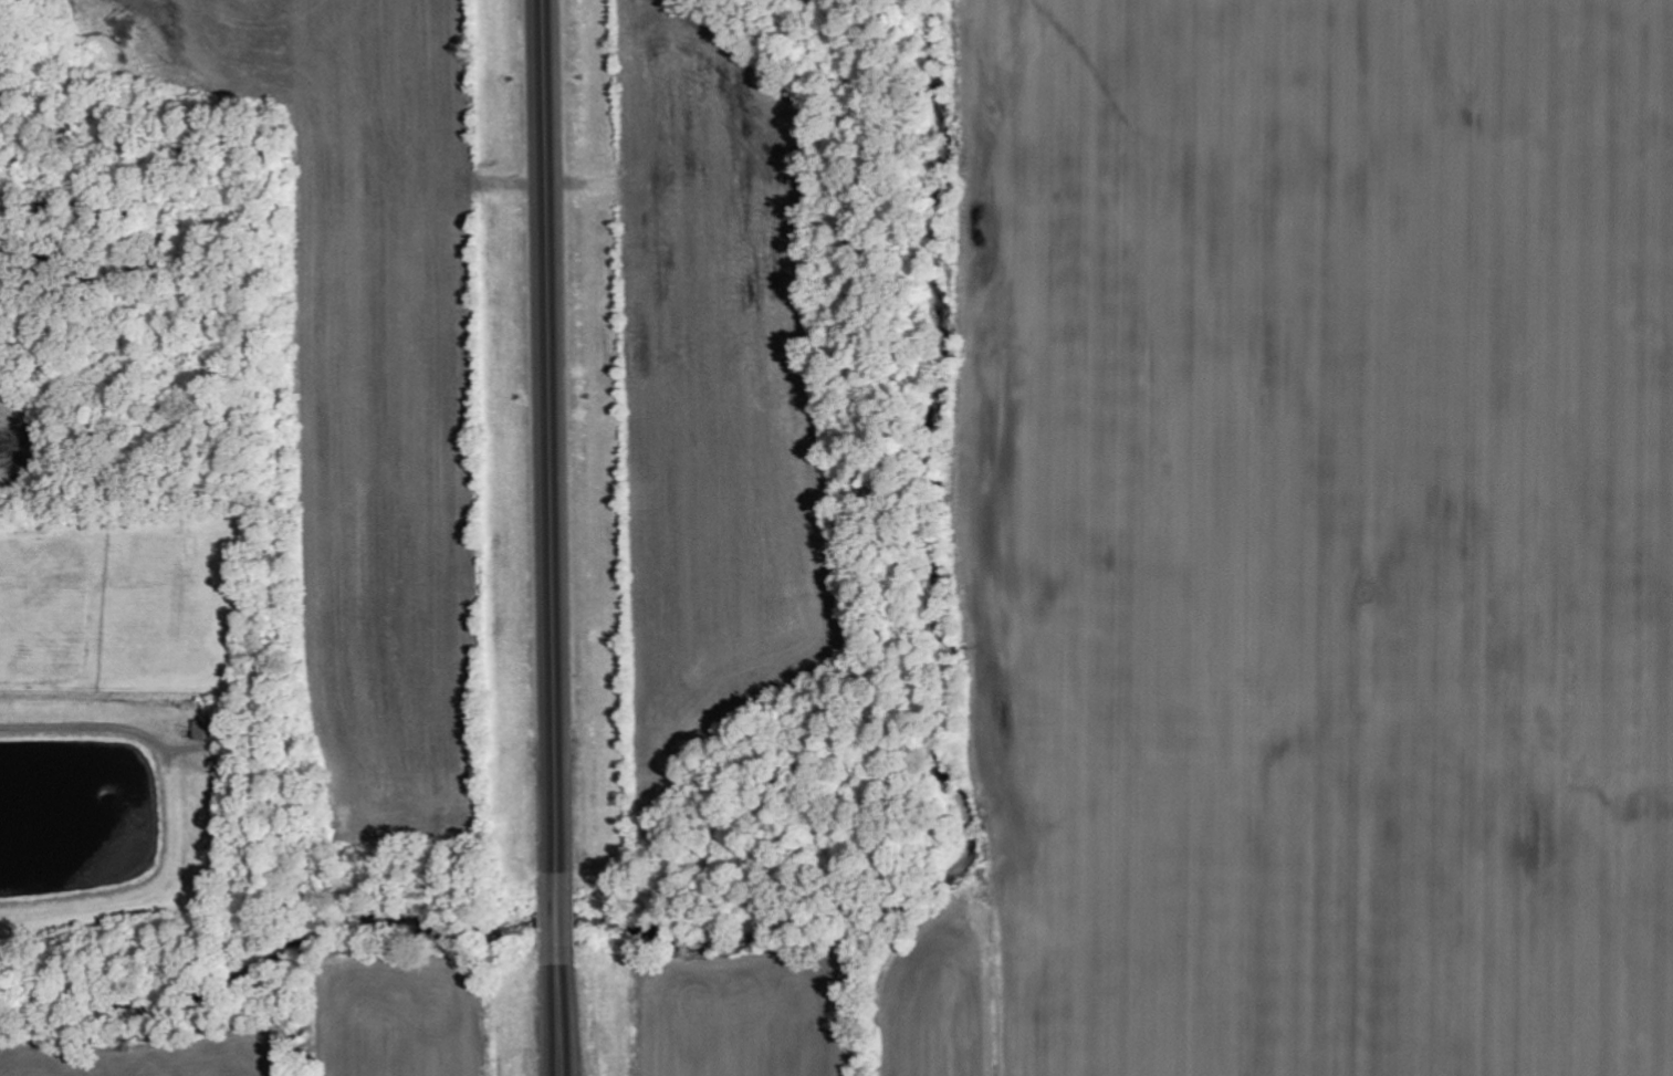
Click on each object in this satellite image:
road: (552, 445)
road: (560, 918)
road: (561, 1011)

